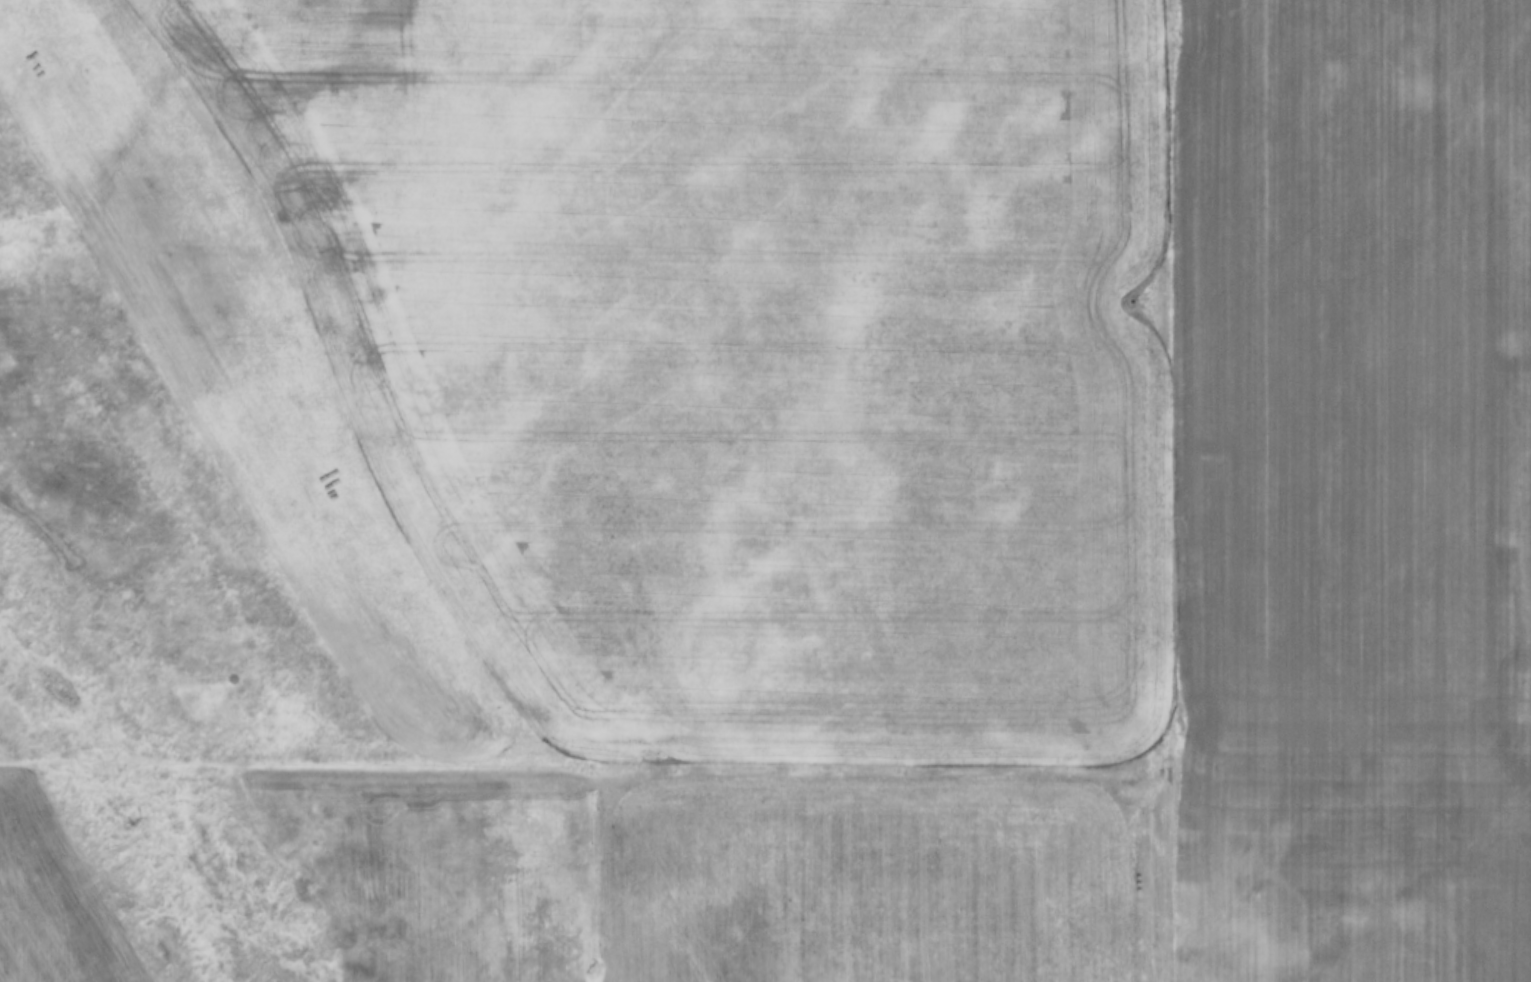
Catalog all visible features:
road: (1164, 490)

